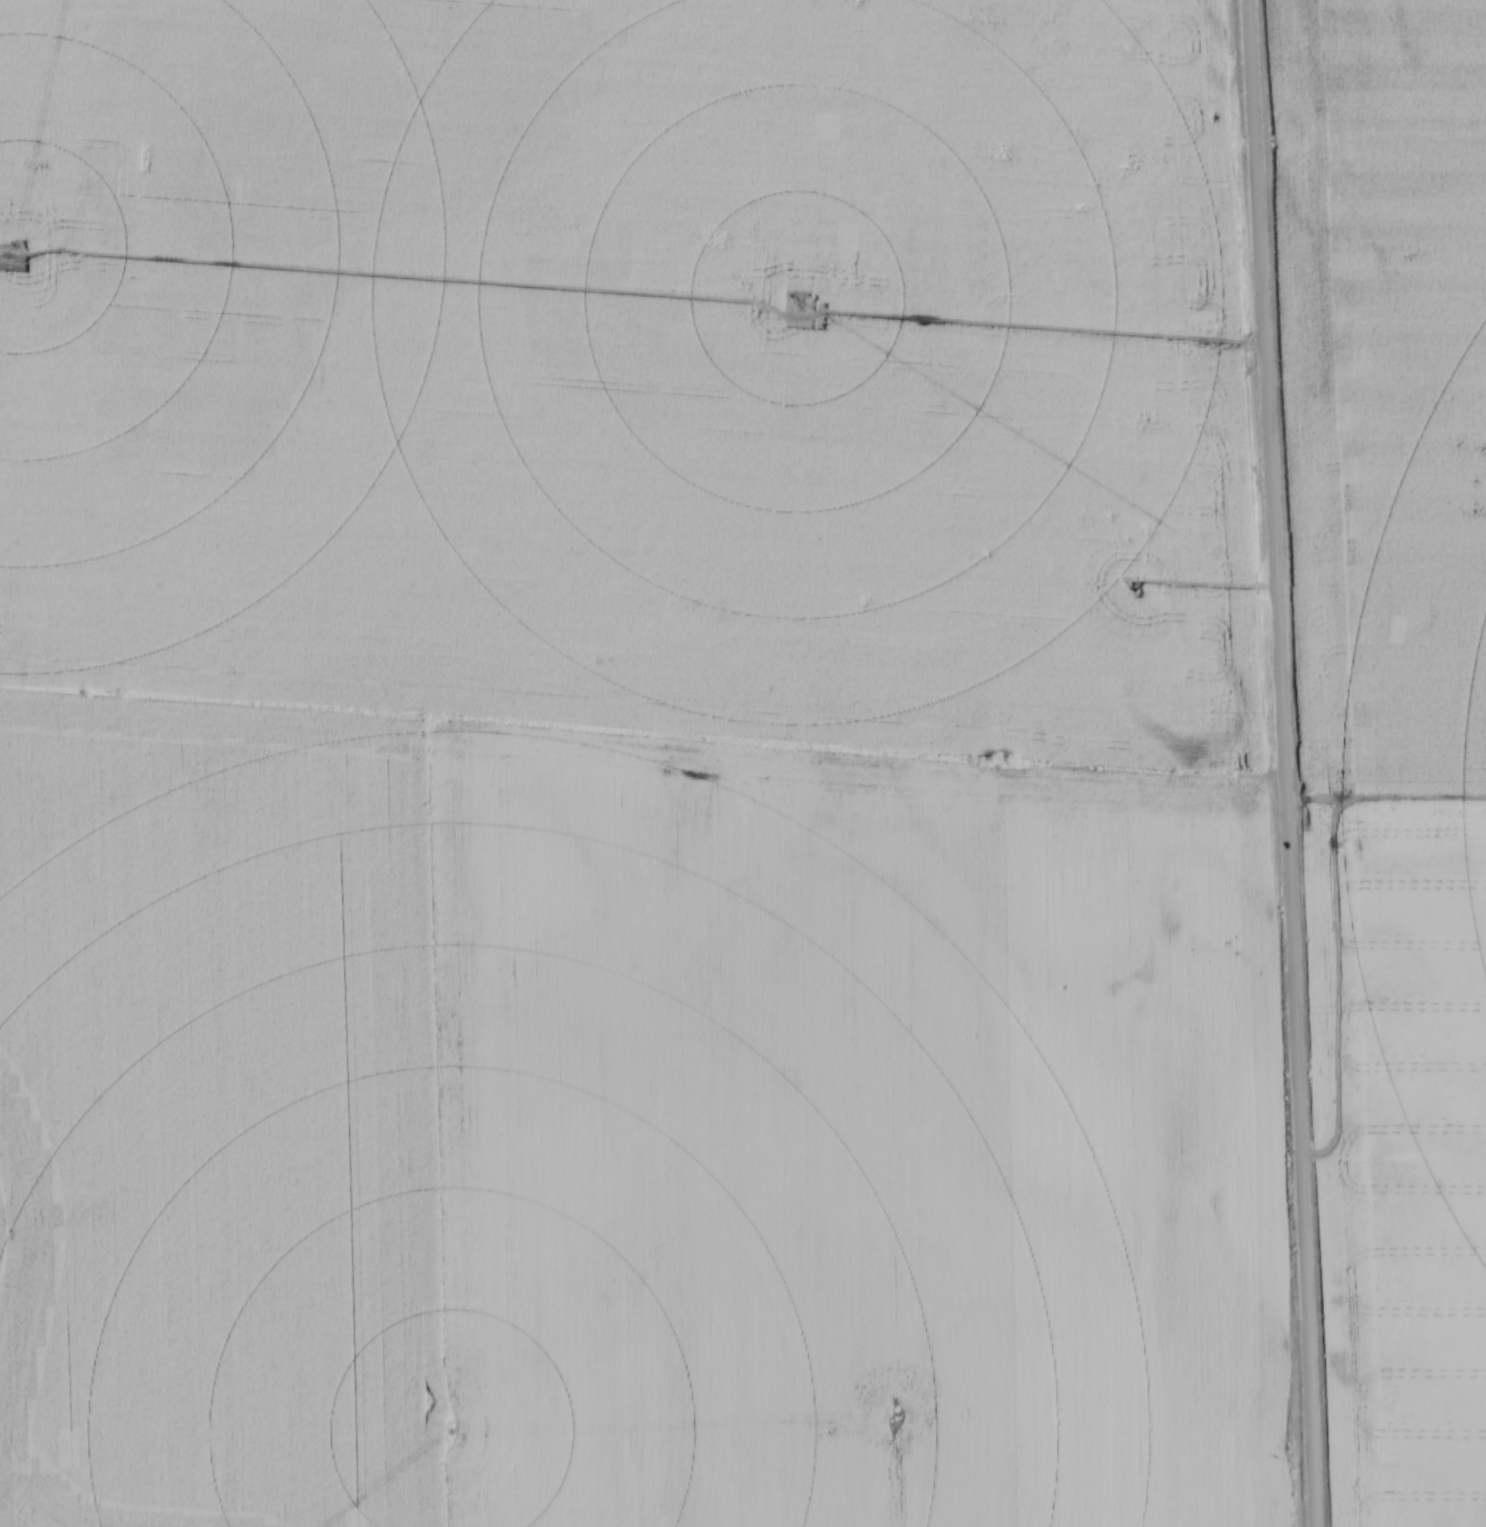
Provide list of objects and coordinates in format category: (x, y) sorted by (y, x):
road: (1283, 763)

